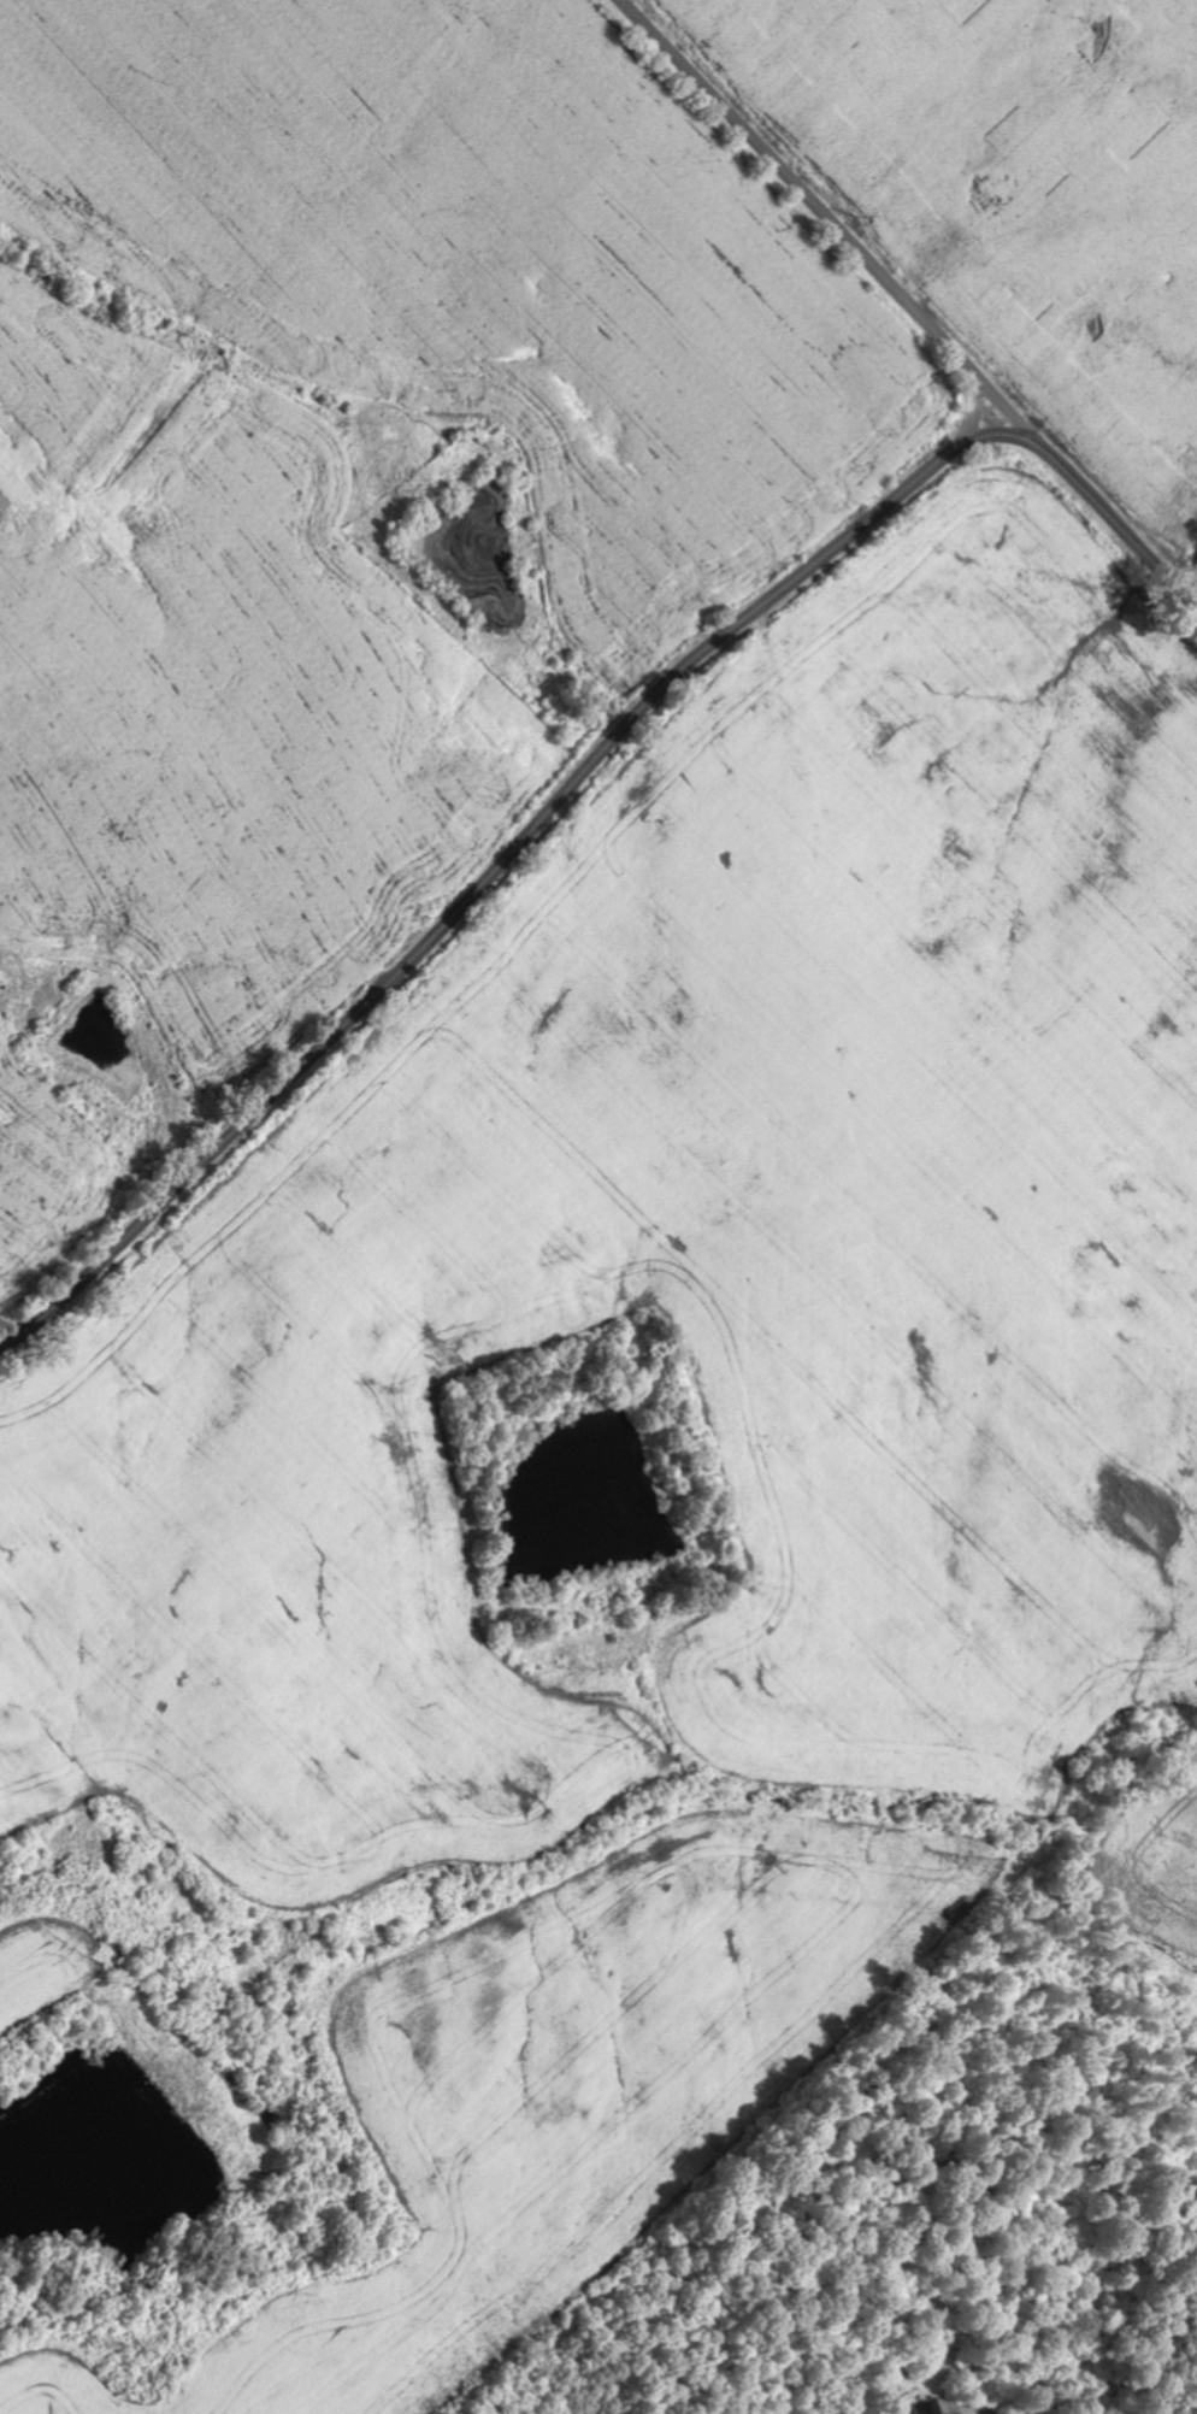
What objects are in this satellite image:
road: (819, 211)
road: (1004, 408)
road: (583, 772)
building: (930, 2407)

